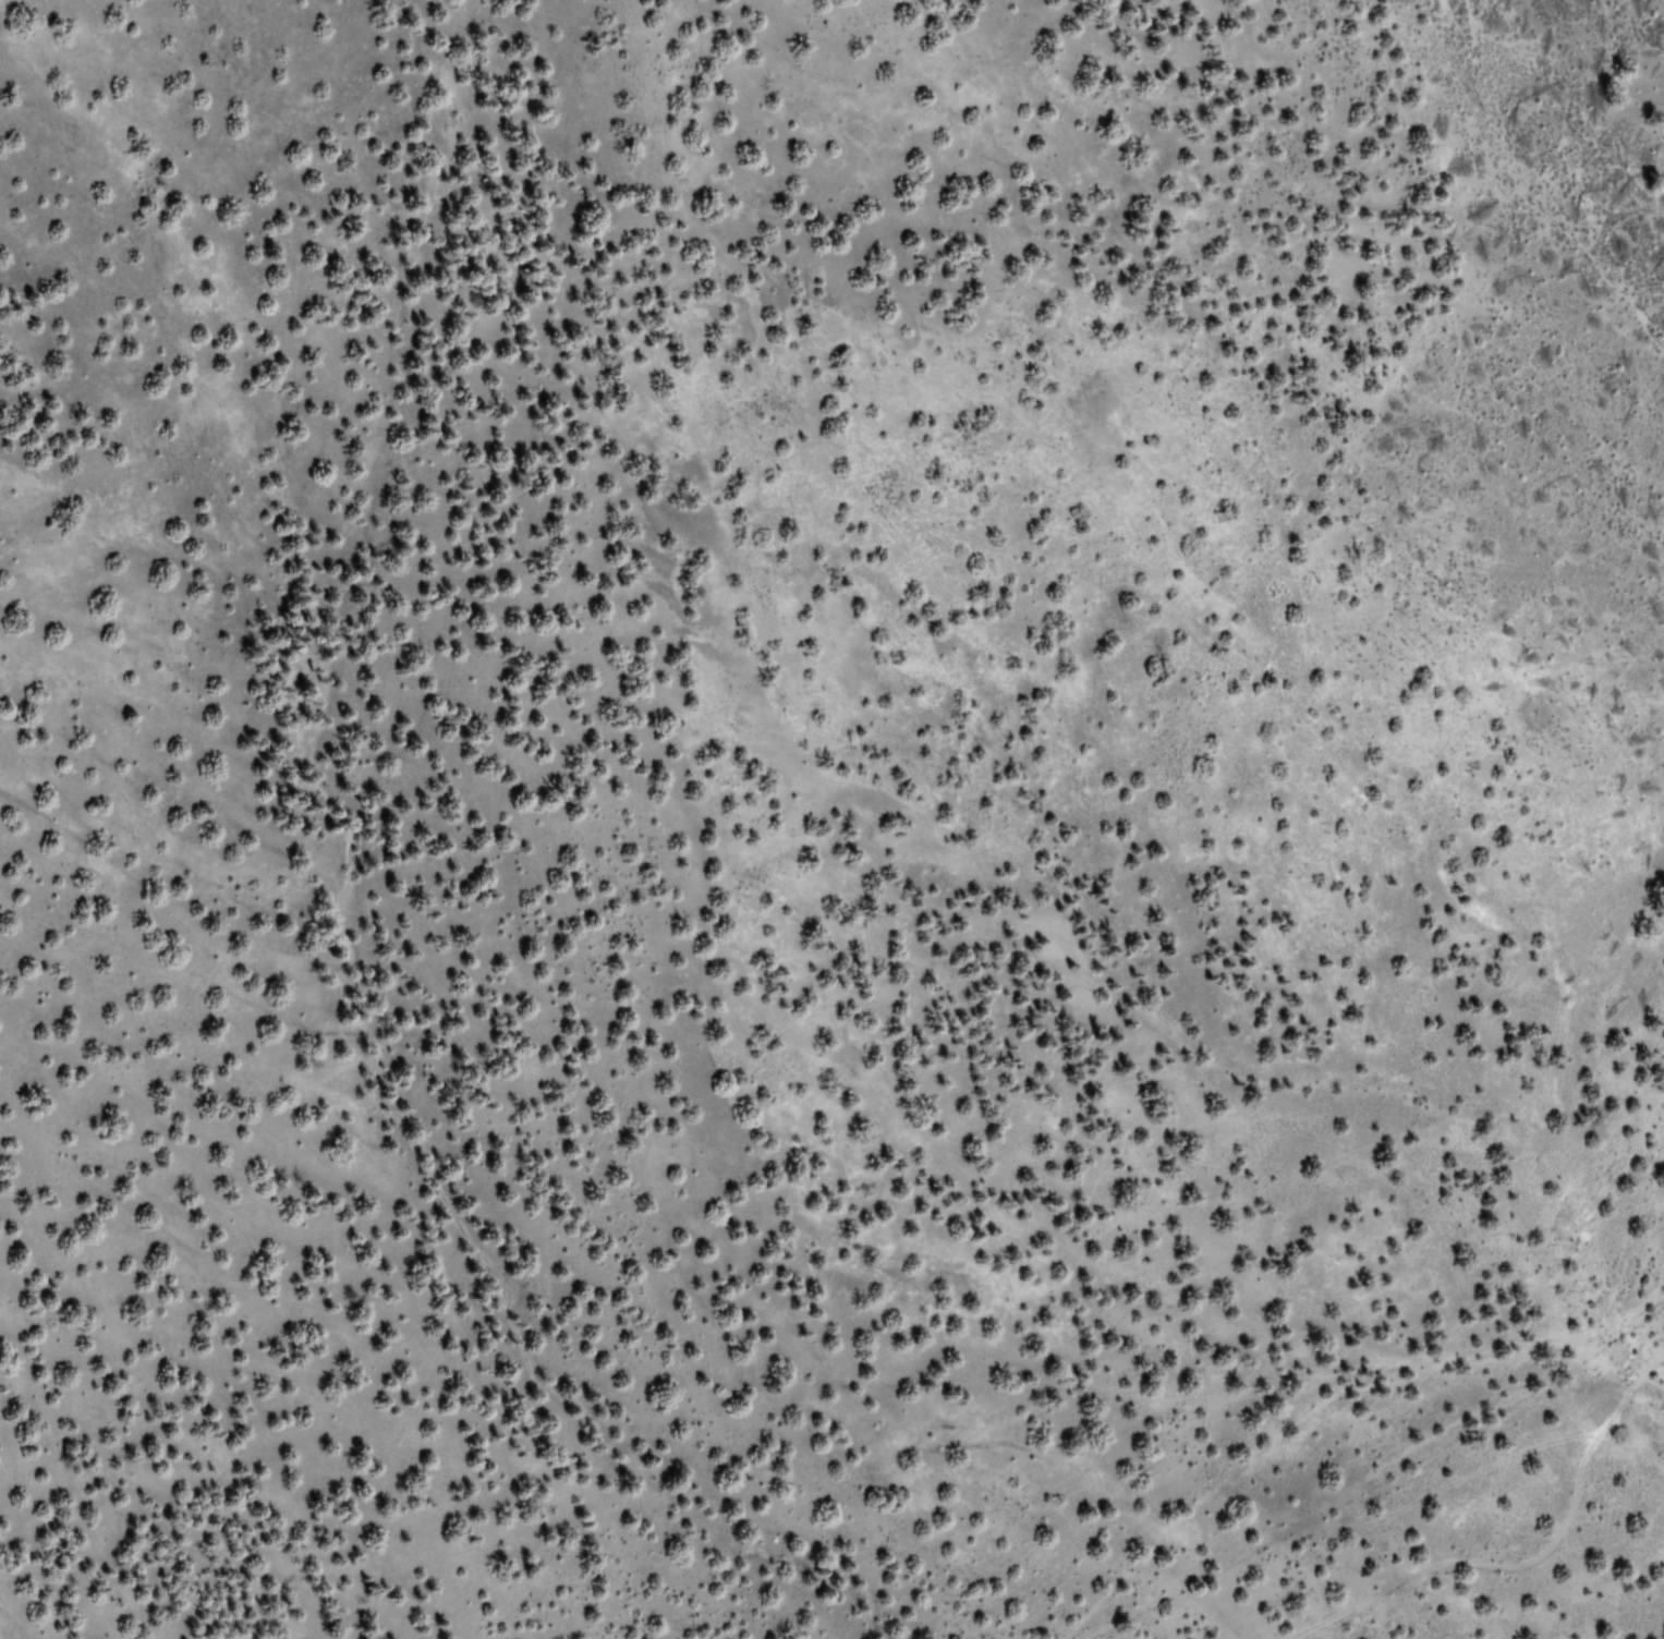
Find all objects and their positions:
road: (1539, 1556)

